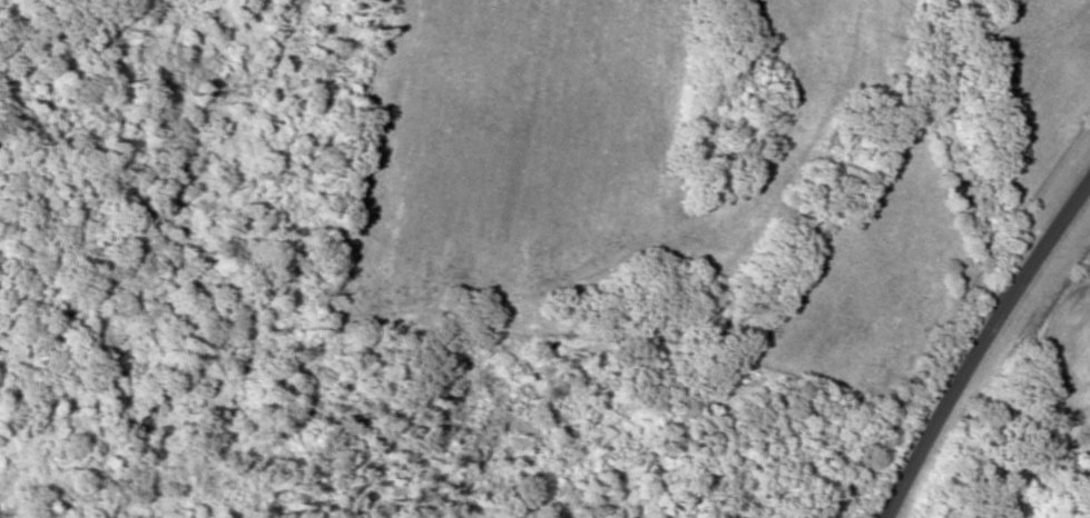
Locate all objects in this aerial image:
road: (978, 340)

